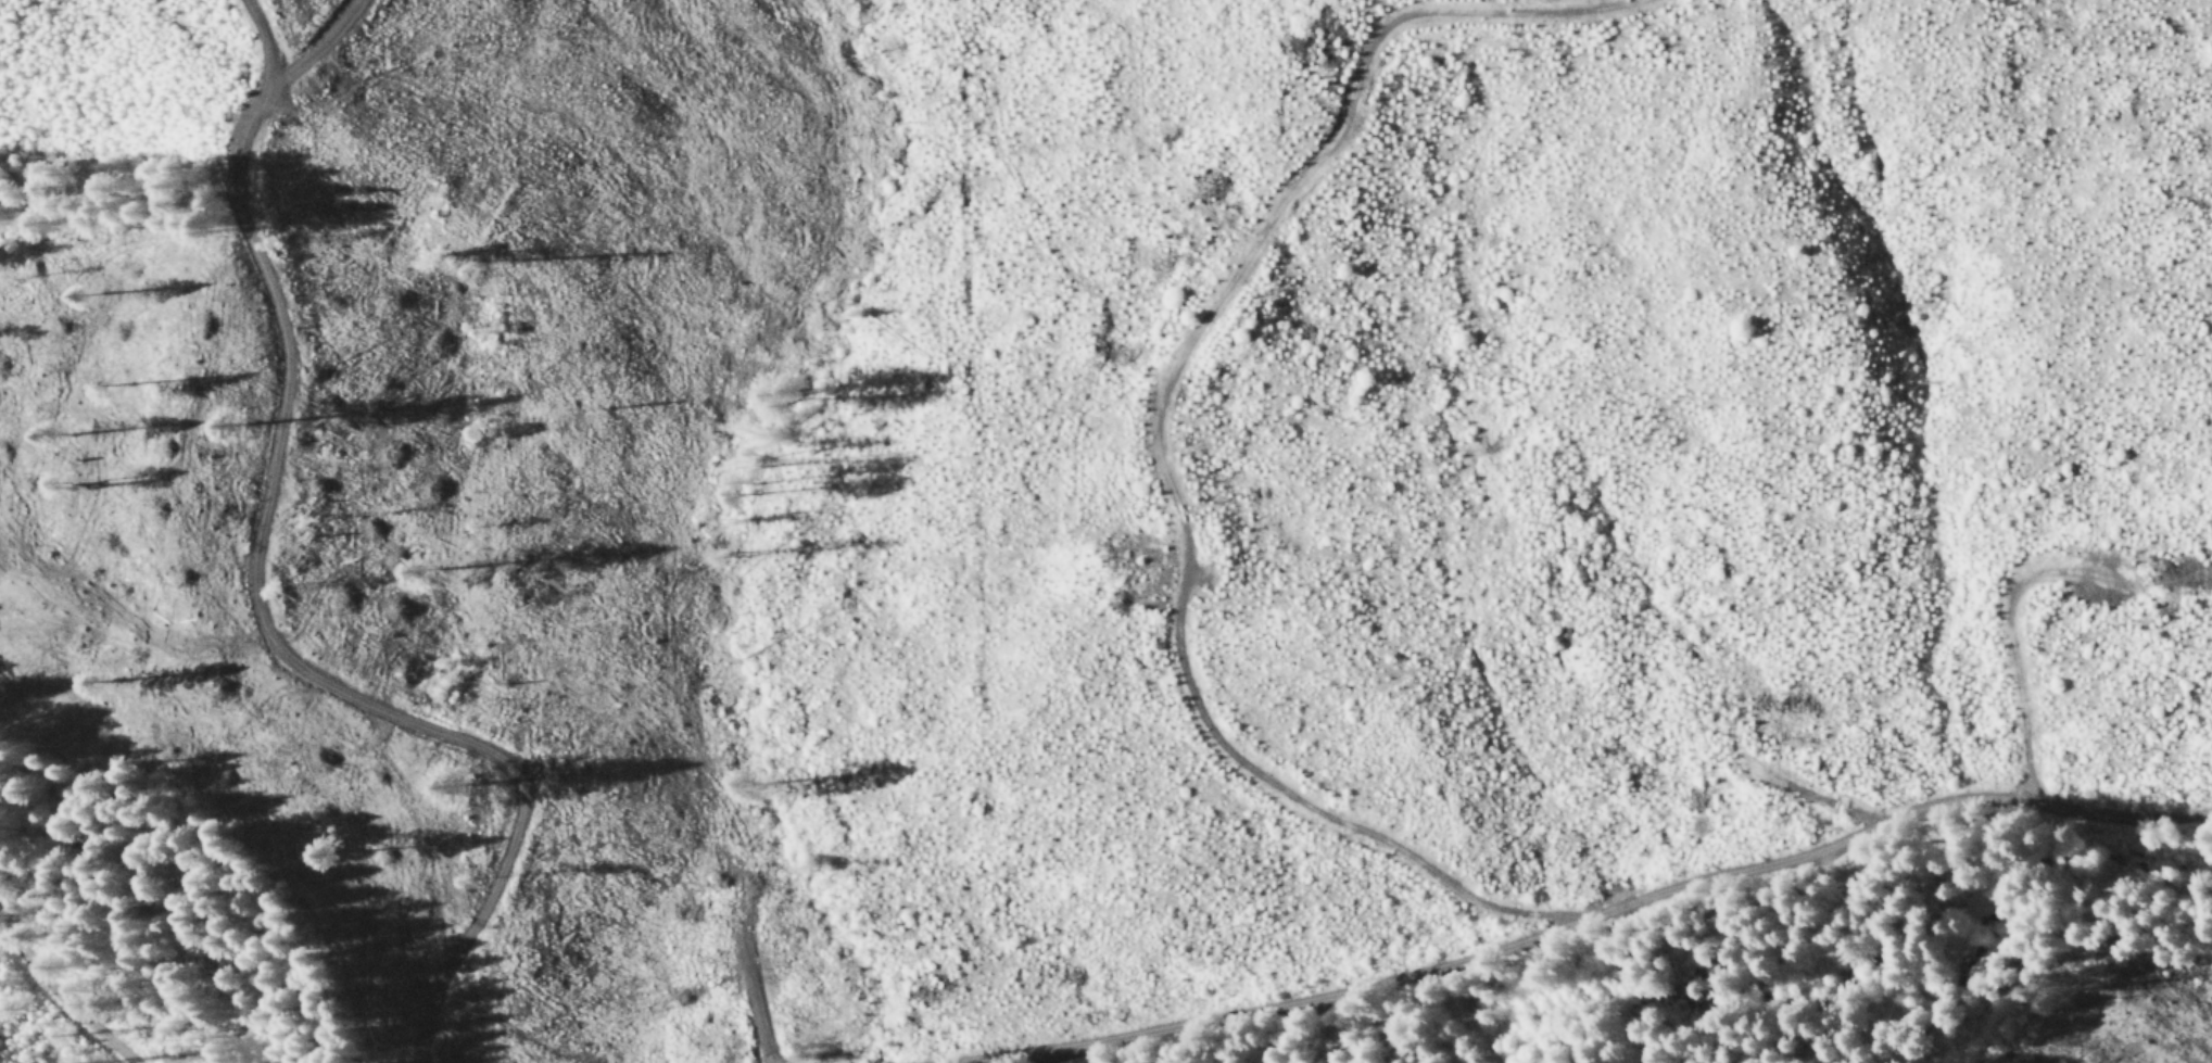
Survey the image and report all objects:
road: (275, 608)
road: (1589, 921)
road: (69, 990)

